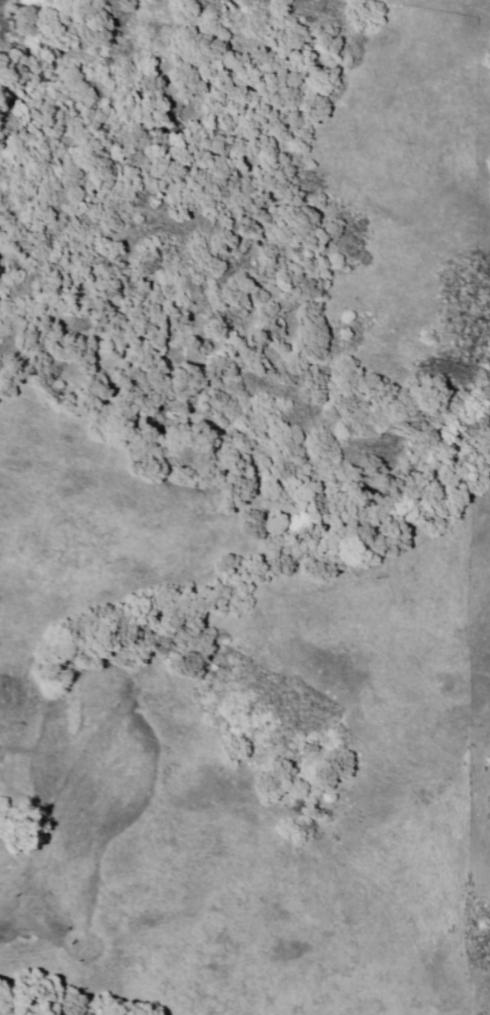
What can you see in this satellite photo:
road: (39, 1006)

